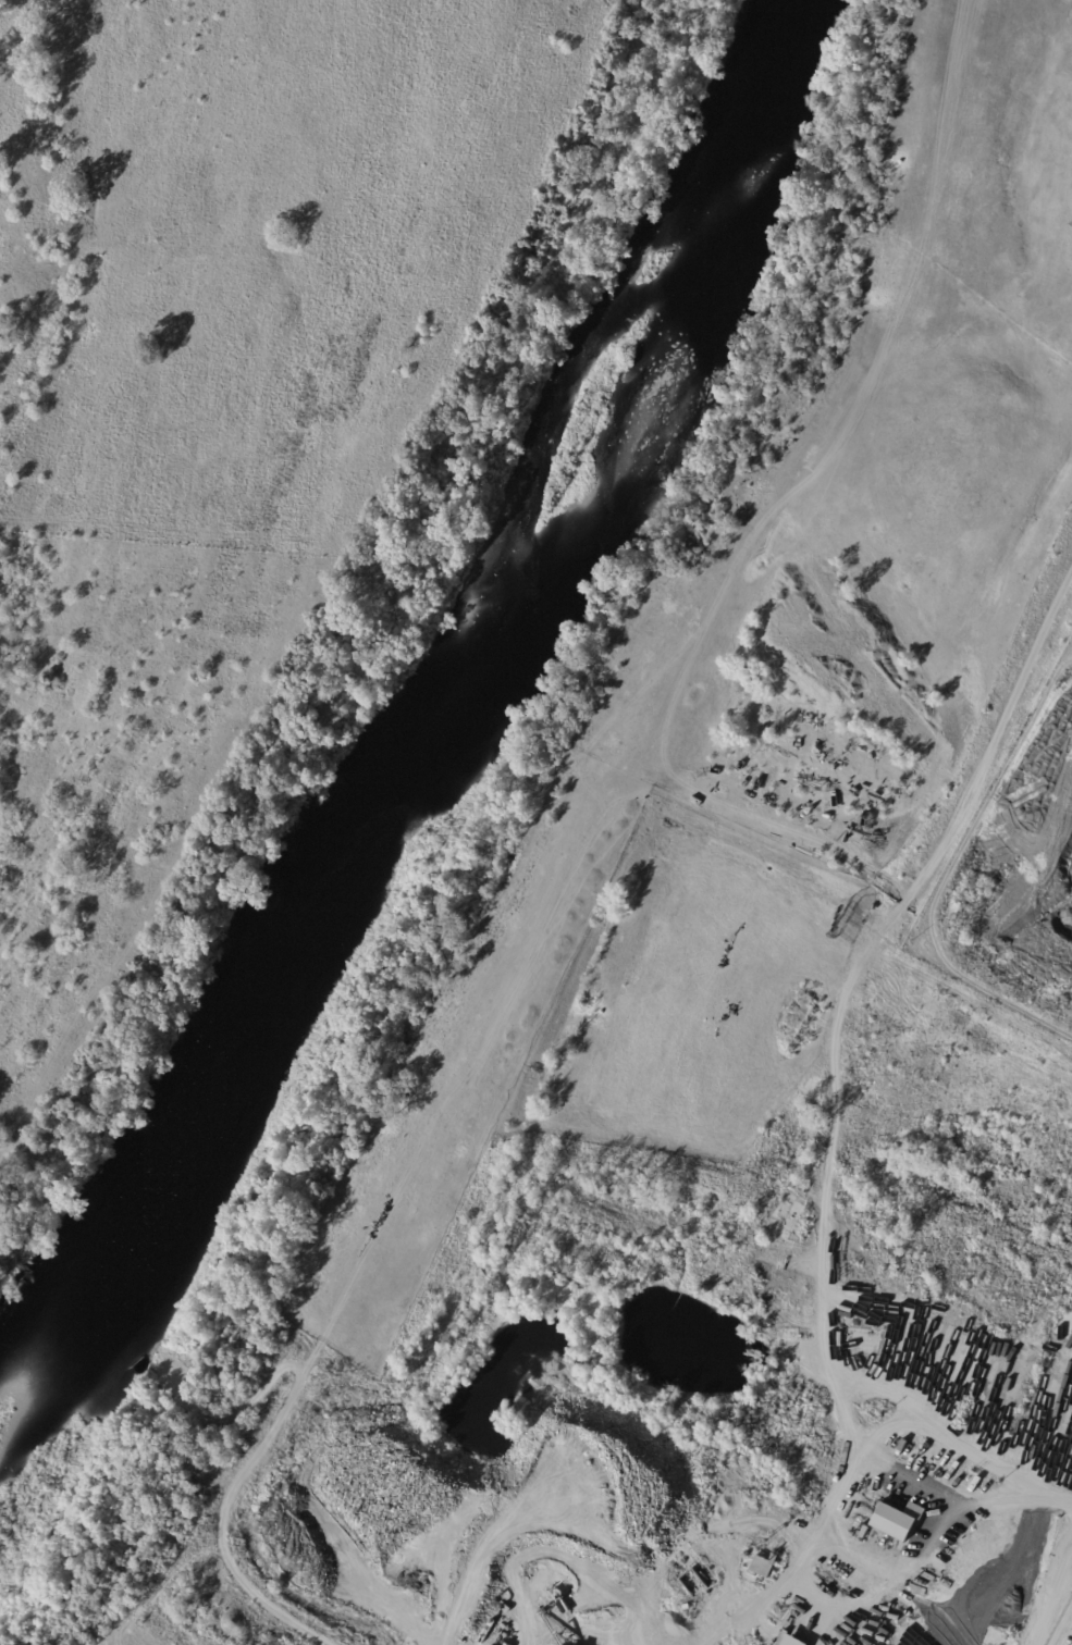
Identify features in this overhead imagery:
river: (458, 723)
building: (799, 1233)
building: (791, 1361)
road: (877, 1457)
building: (872, 1502)
road: (1058, 1505)
building: (877, 1519)
building: (878, 1538)
building: (766, 1567)
building: (693, 1583)
building: (890, 1606)
building: (688, 1608)

